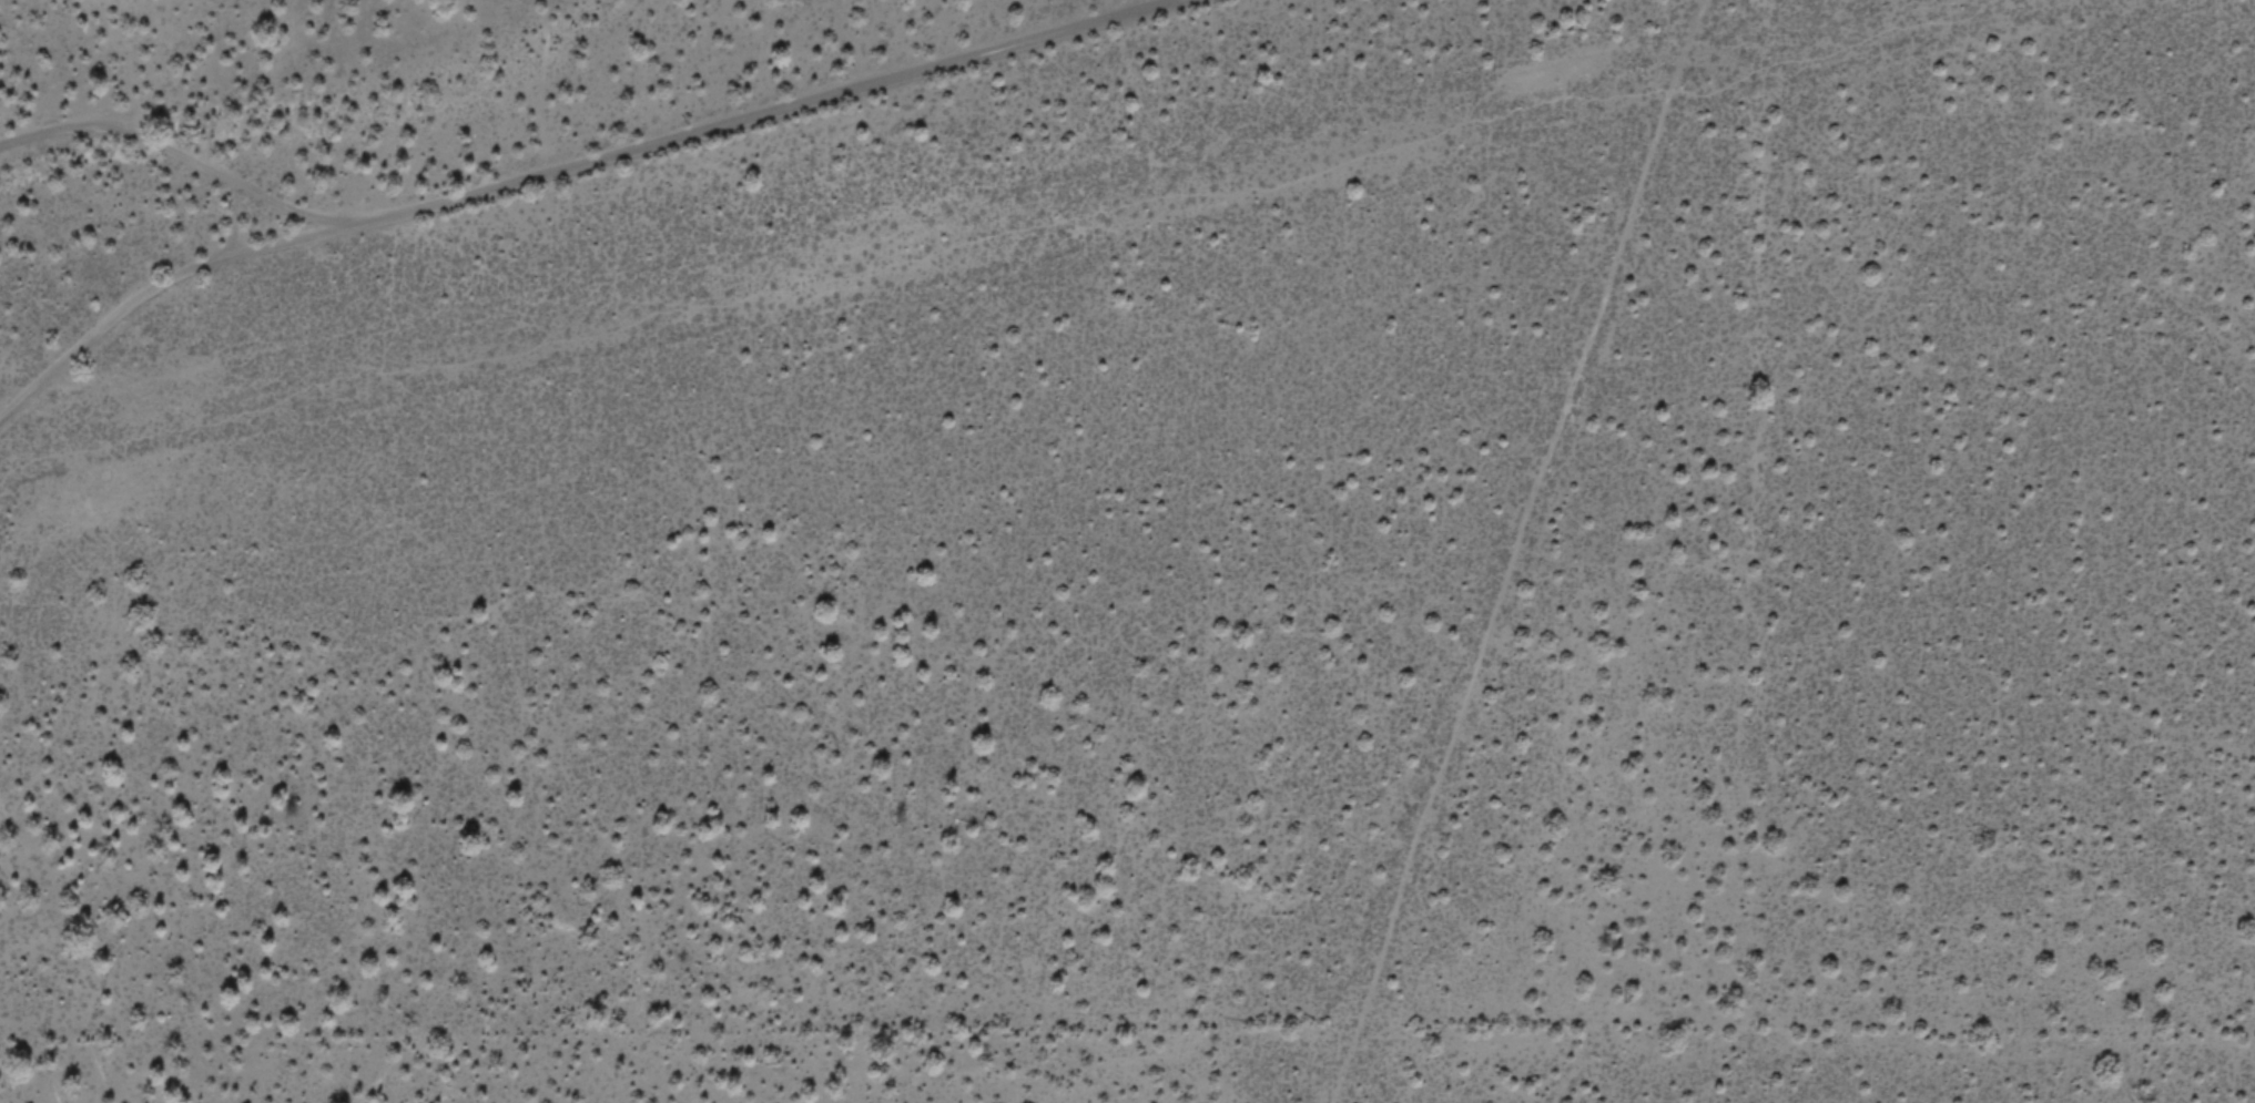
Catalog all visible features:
road: (174, 155)
road: (571, 166)
airport runway: (1088, 211)
airport runway: (1517, 551)

